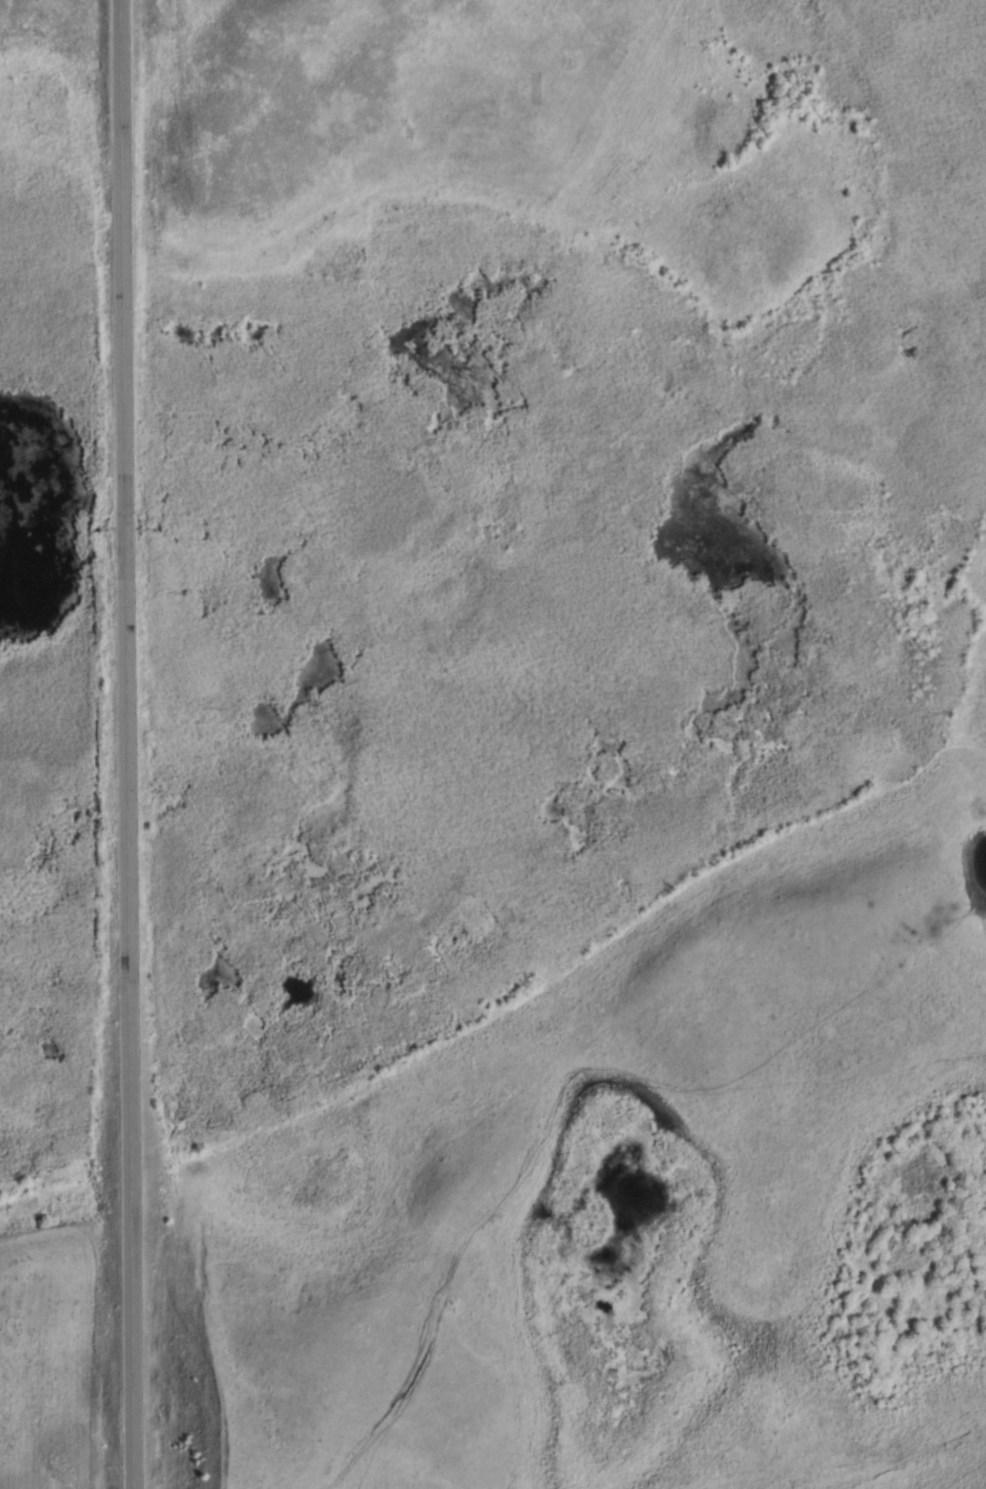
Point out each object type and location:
park: (54, 341)
road: (135, 744)

